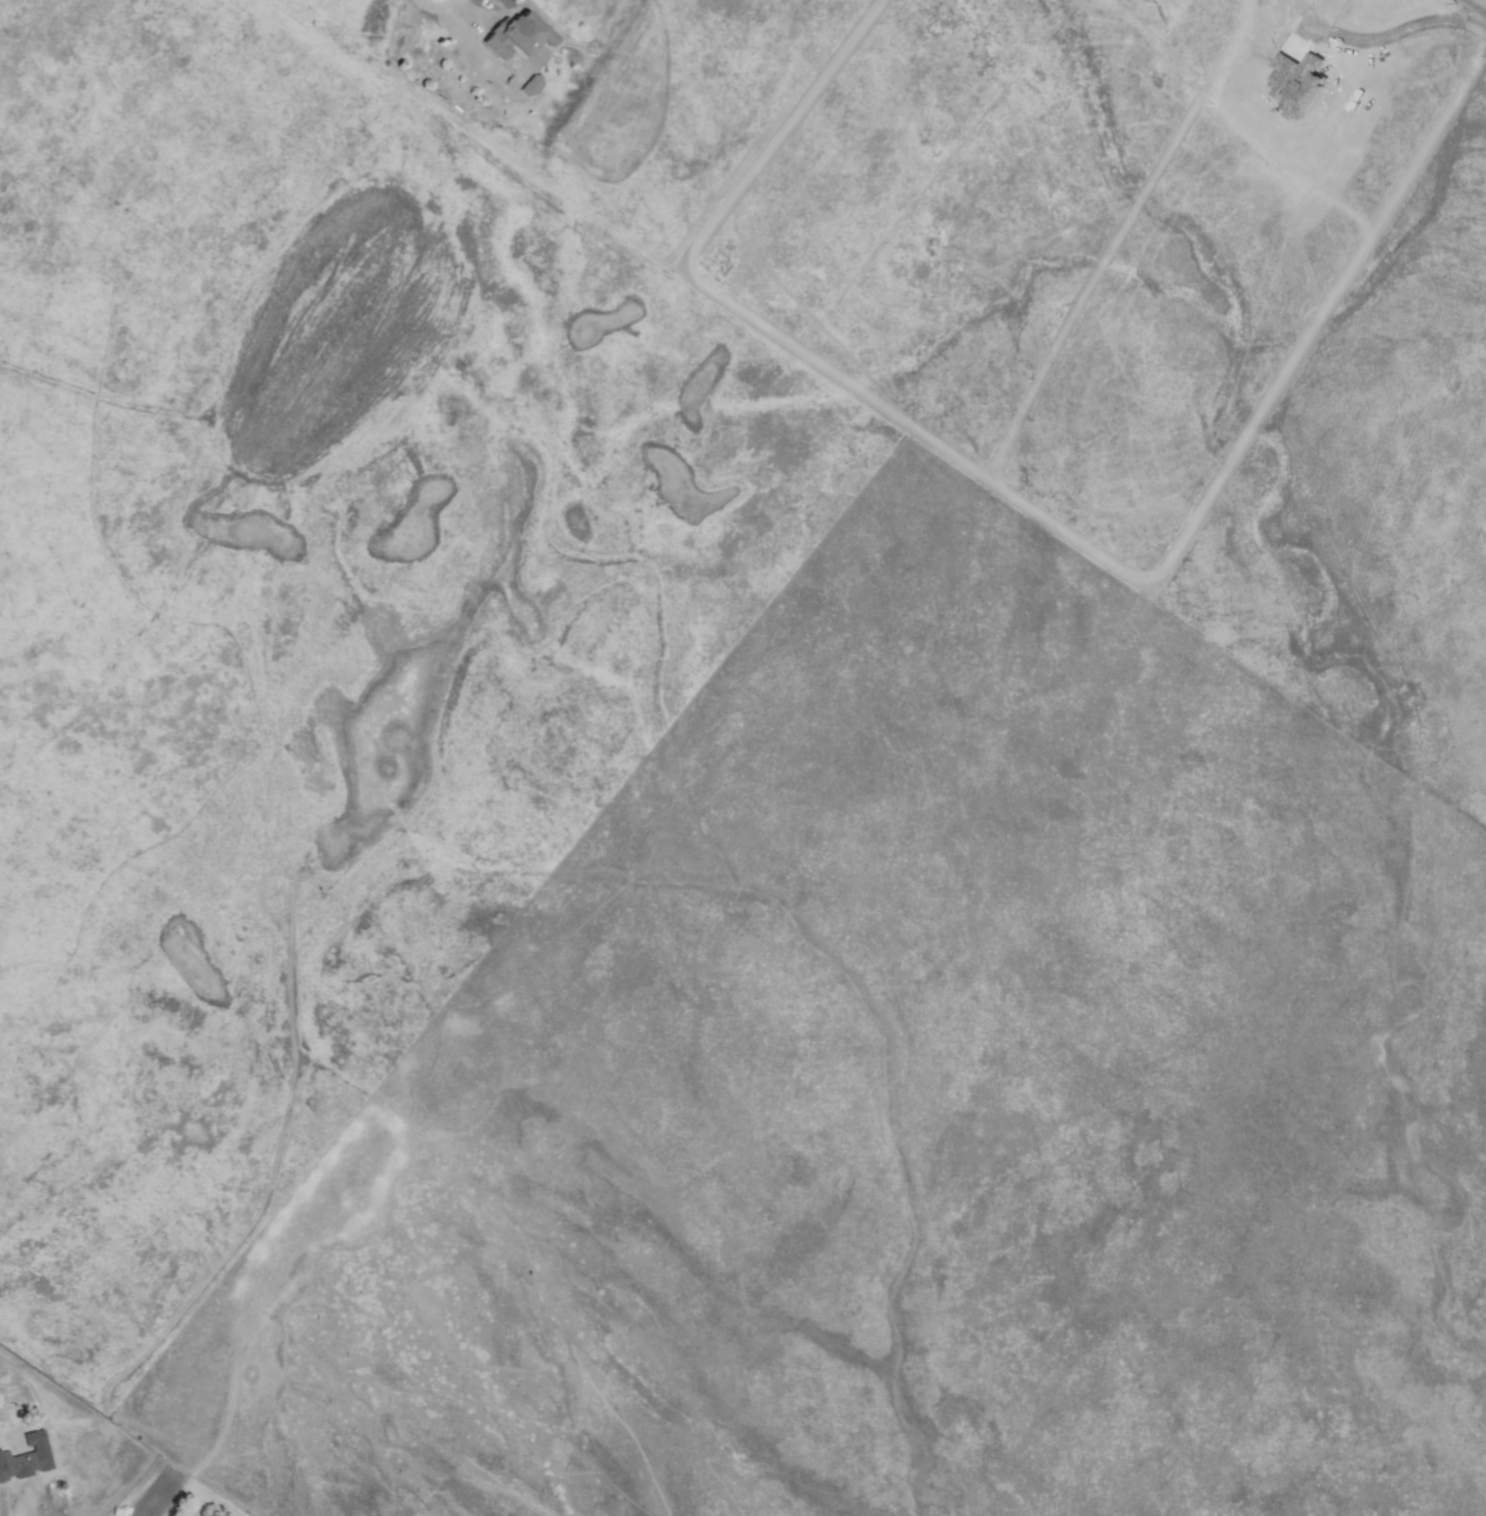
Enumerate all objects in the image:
road: (441, 9)
road: (1312, 12)
road: (1281, 27)
building: (516, 36)
road: (1400, 39)
building: (531, 86)
building: (26, 1458)
road: (169, 1493)
road: (0, 1510)

